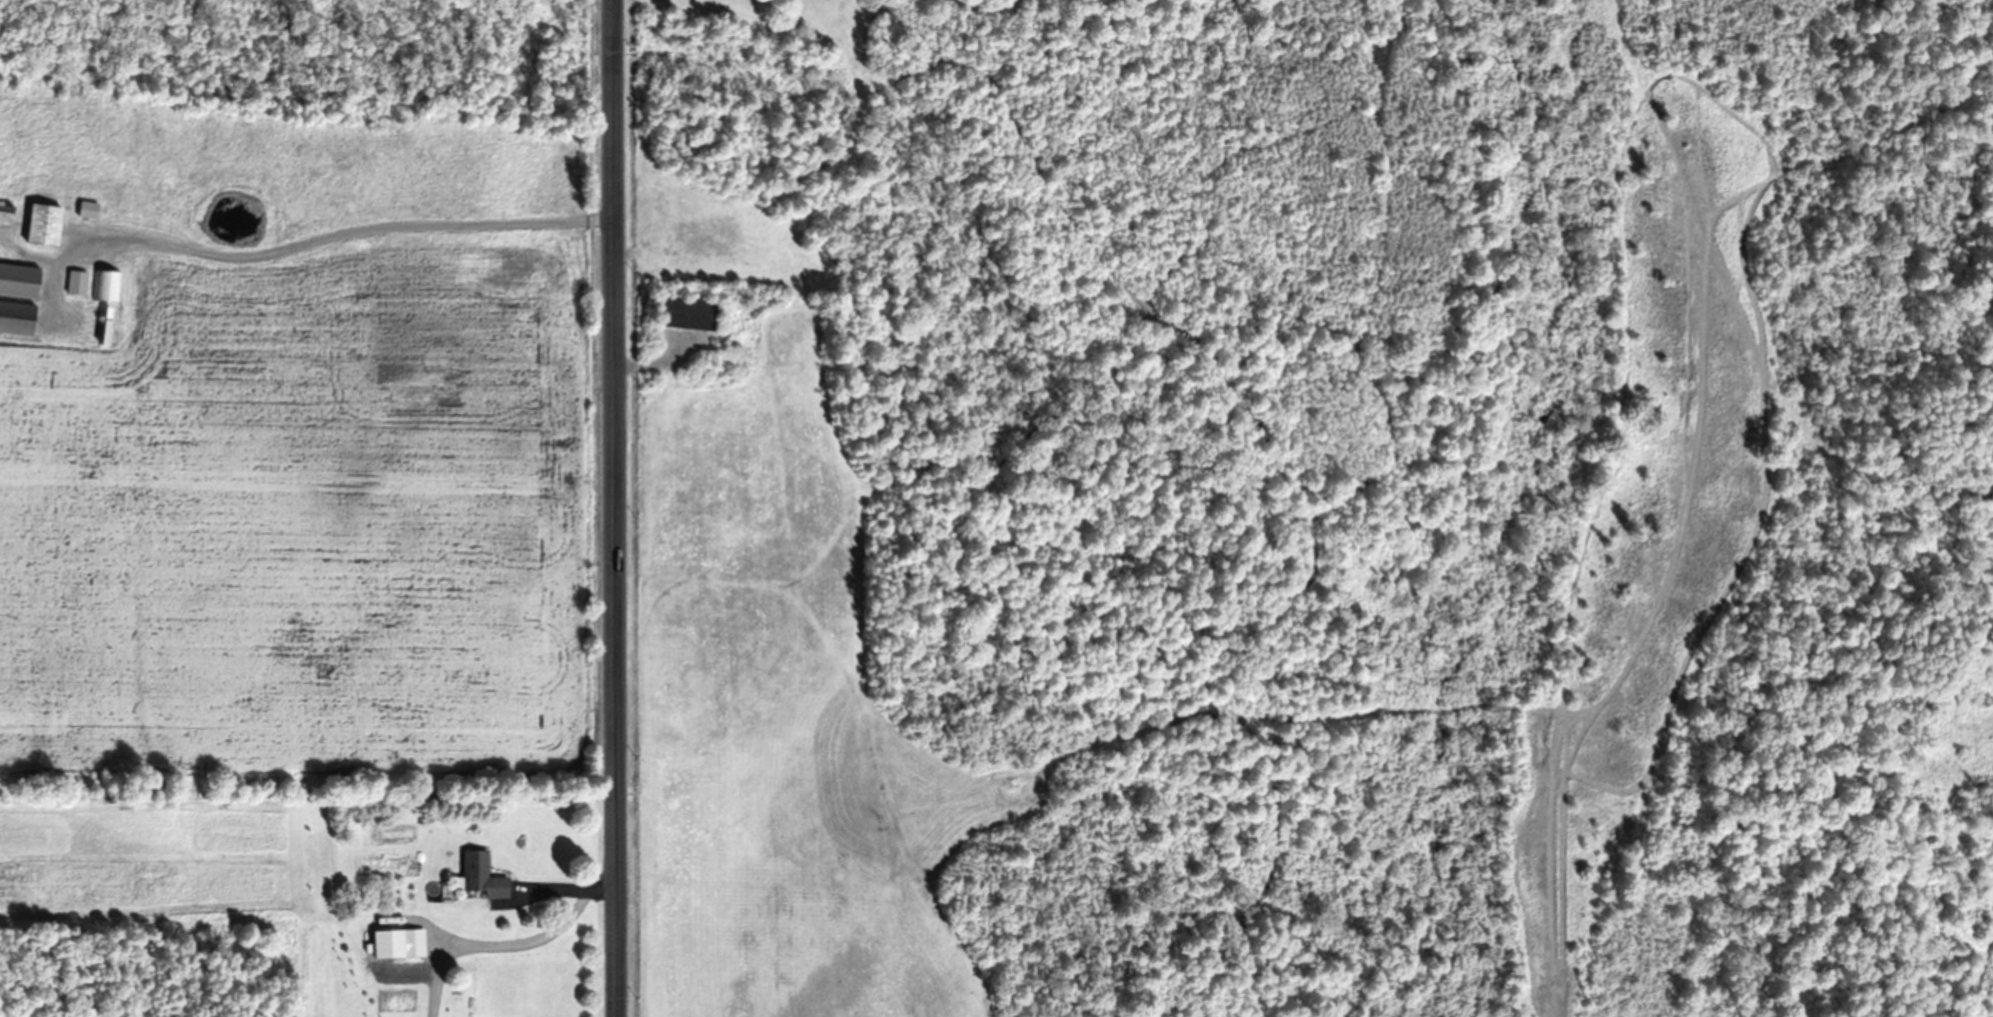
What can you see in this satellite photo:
building: (90, 210)
building: (47, 225)
building: (21, 281)
building: (78, 282)
building: (107, 286)
building: (689, 312)
building: (18, 318)
road: (614, 508)
building: (482, 876)
building: (409, 943)

